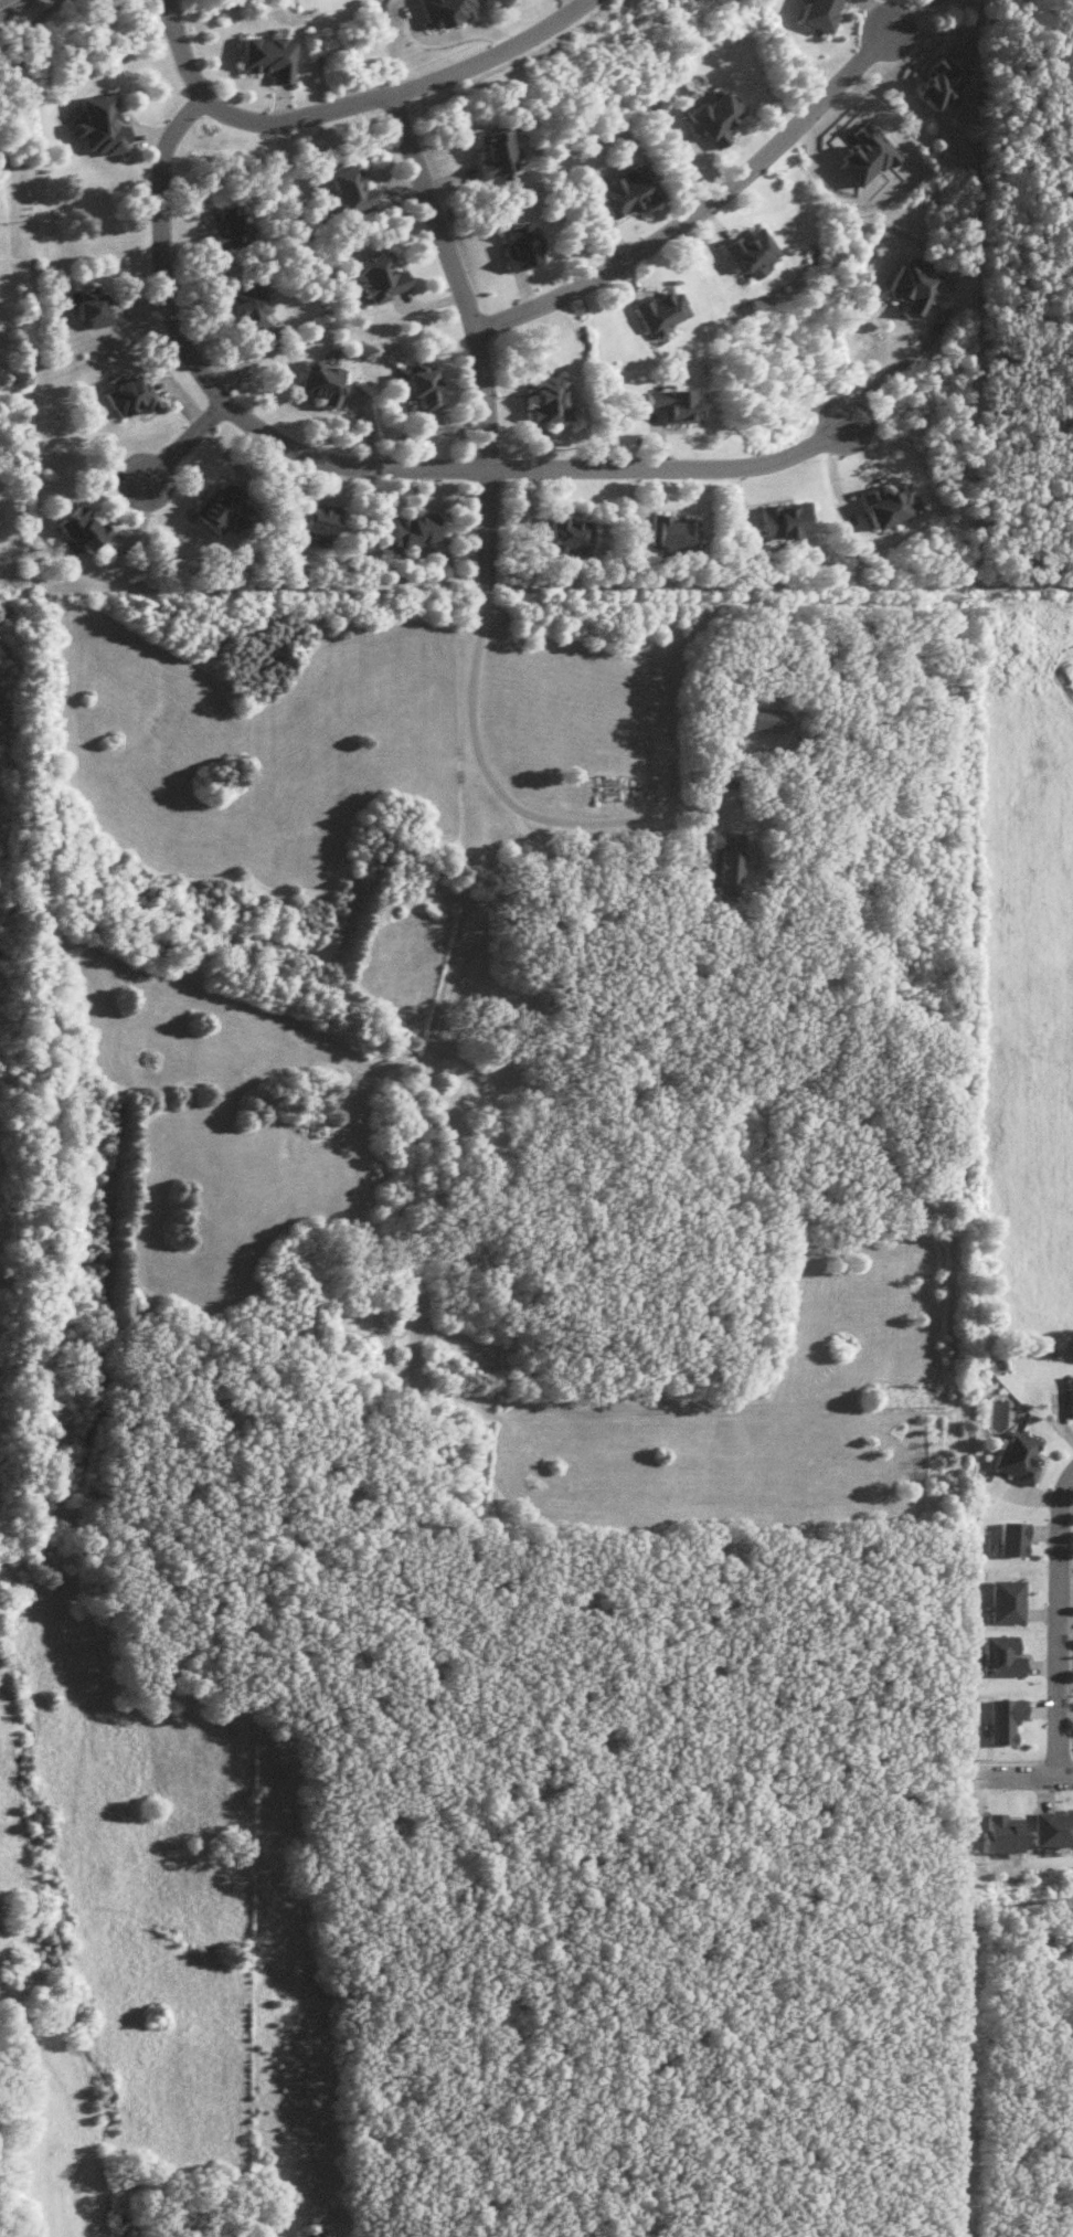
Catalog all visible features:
road: (8, 4)
building: (451, 11)
building: (827, 13)
road: (29, 22)
road: (174, 50)
building: (276, 57)
building: (947, 85)
road: (402, 96)
building: (721, 119)
building: (106, 126)
building: (501, 152)
building: (873, 156)
building: (358, 188)
building: (636, 192)
road: (704, 213)
building: (236, 226)
building: (528, 246)
building: (759, 253)
building: (386, 277)
park: (1024, 284)
building: (920, 286)
building: (97, 307)
building: (257, 307)
building: (670, 316)
building: (329, 382)
building: (427, 389)
building: (136, 397)
building: (556, 401)
building: (684, 406)
road: (182, 448)
road: (362, 471)
building: (897, 506)
building: (225, 508)
building: (327, 520)
building: (792, 522)
building: (87, 531)
building: (422, 531)
building: (680, 533)
building: (576, 534)
road: (491, 566)
road: (1028, 591)
building: (767, 718)
building: (731, 861)
building: (1023, 1459)
building: (1019, 1539)
building: (1013, 1602)
road: (1061, 1628)
building: (1009, 1657)
building: (1012, 1720)
road: (1030, 1780)
building: (1056, 1831)
building: (1010, 1835)

